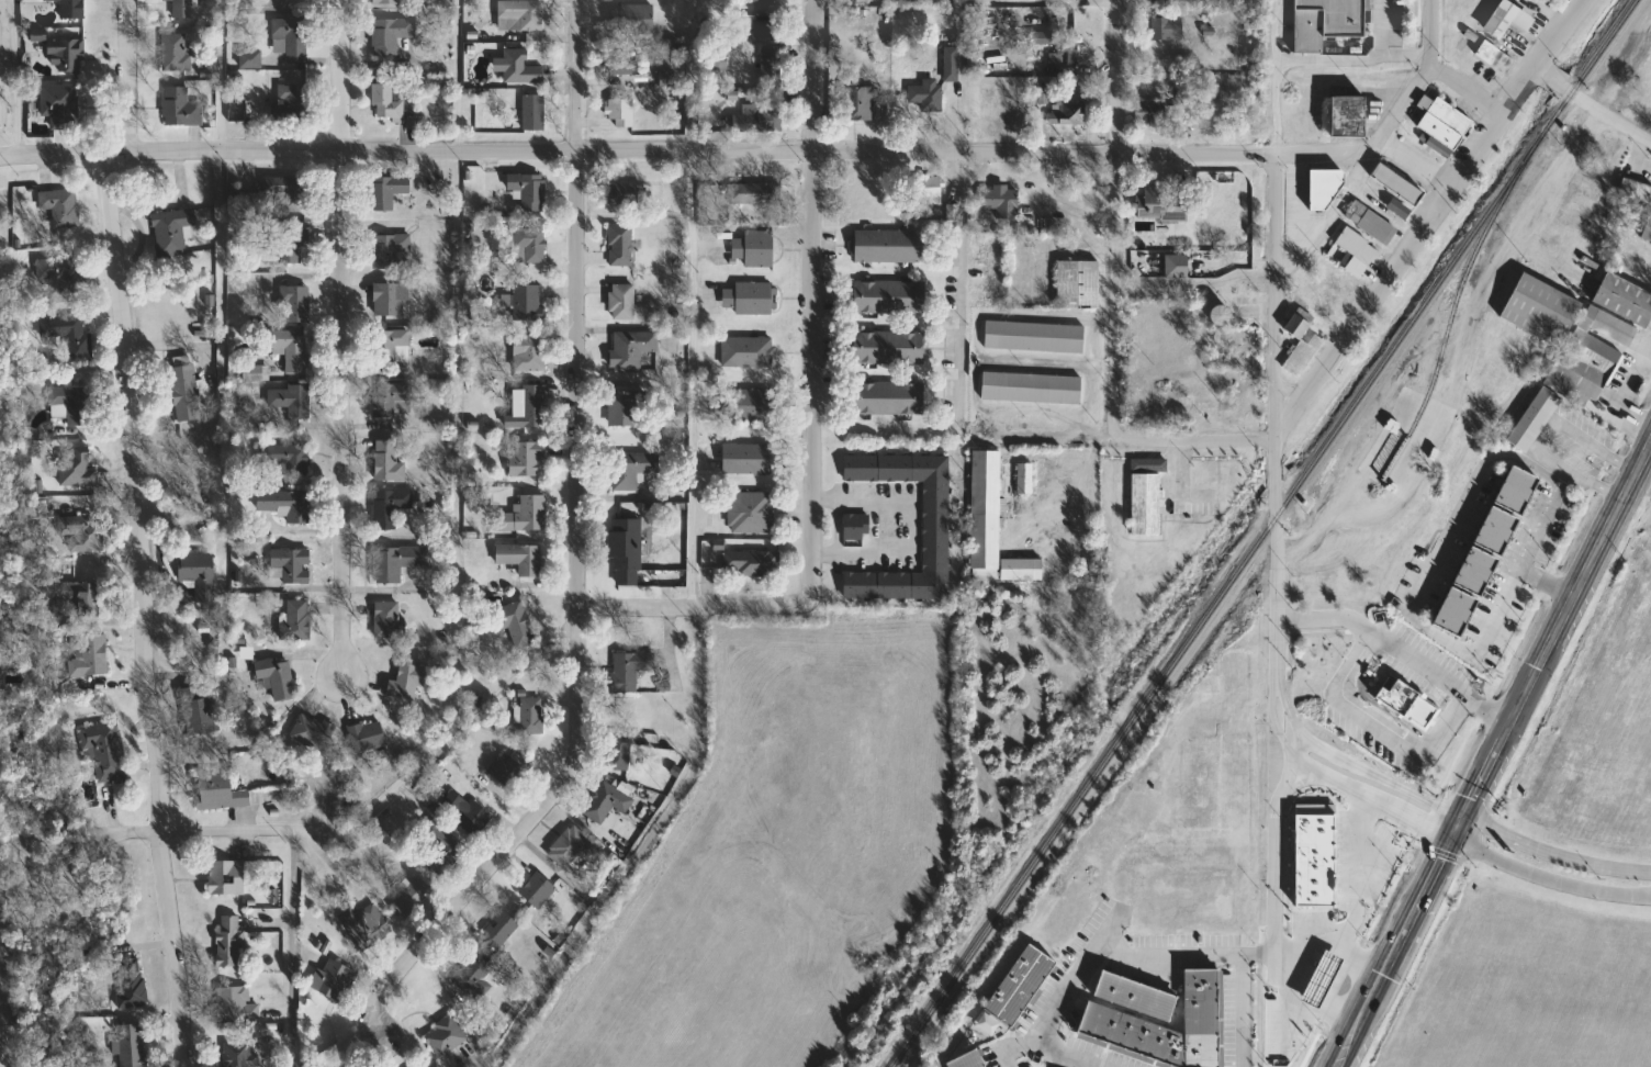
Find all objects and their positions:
building: (1166, 0)
building: (389, 1)
building: (299, 2)
building: (72, 9)
building: (183, 9)
building: (521, 14)
building: (633, 19)
building: (1508, 19)
building: (768, 21)
building: (1326, 22)
building: (1168, 27)
road: (1381, 29)
building: (391, 34)
building: (291, 36)
building: (1042, 37)
building: (175, 53)
building: (66, 54)
building: (1066, 56)
building: (1495, 57)
building: (251, 59)
road: (1349, 60)
building: (719, 61)
building: (621, 64)
building: (771, 64)
building: (952, 65)
building: (521, 68)
road: (126, 74)
road: (573, 74)
road: (1417, 74)
road: (339, 75)
road: (453, 75)
road: (810, 75)
road: (1114, 75)
road: (13, 76)
road: (1271, 76)
park: (4, 81)
road: (1462, 85)
road: (1510, 91)
building: (928, 94)
building: (295, 100)
building: (389, 100)
building: (858, 103)
road: (1588, 103)
building: (60, 105)
building: (182, 108)
road: (2, 109)
building: (1071, 111)
building: (621, 112)
building: (1149, 112)
building: (535, 115)
building: (1348, 116)
building: (760, 119)
building: (1442, 125)
road: (732, 148)
building: (1397, 183)
building: (1322, 188)
building: (529, 190)
building: (931, 190)
building: (1636, 190)
building: (284, 191)
building: (388, 191)
building: (755, 193)
building: (626, 194)
building: (1003, 201)
building: (244, 202)
building: (1163, 203)
building: (61, 206)
building: (1400, 209)
building: (1372, 222)
building: (172, 231)
building: (530, 245)
building: (621, 245)
building: (292, 246)
building: (888, 246)
building: (755, 248)
building: (390, 249)
building: (1358, 251)
building: (1177, 266)
building: (60, 269)
building: (1080, 284)
road: (1119, 293)
road: (1270, 295)
building: (889, 297)
building: (389, 299)
building: (749, 299)
building: (1625, 299)
building: (622, 302)
road: (689, 302)
building: (295, 304)
building: (528, 304)
building: (1541, 310)
road: (1358, 312)
building: (1221, 315)
building: (1298, 326)
building: (69, 336)
building: (1036, 337)
building: (889, 347)
railway: (1440, 347)
building: (393, 348)
building: (293, 349)
building: (632, 350)
building: (749, 352)
building: (530, 353)
building: (1591, 355)
road: (1048, 361)
road: (976, 366)
building: (254, 373)
road: (809, 378)
road: (958, 378)
building: (1033, 388)
building: (186, 392)
building: (889, 398)
building: (291, 400)
building: (393, 401)
building: (72, 404)
building: (536, 405)
building: (754, 405)
building: (631, 408)
road: (338, 414)
building: (1535, 419)
road: (221, 427)
road: (1195, 438)
building: (289, 458)
building: (528, 459)
building: (749, 459)
building: (389, 462)
building: (77, 468)
building: (632, 469)
building: (1147, 495)
building: (287, 505)
building: (391, 507)
road: (1461, 509)
building: (752, 513)
building: (525, 515)
road: (909, 521)
building: (857, 526)
building: (936, 526)
building: (992, 526)
building: (1495, 530)
building: (80, 532)
road: (457, 532)
railway: (1266, 535)
building: (627, 552)
building: (520, 558)
road: (1278, 558)
building: (397, 562)
building: (753, 563)
building: (293, 564)
building: (199, 573)
building: (85, 598)
road: (693, 605)
road: (137, 606)
building: (1453, 610)
building: (389, 619)
road: (574, 619)
building: (296, 620)
building: (517, 622)
road: (1401, 651)
building: (88, 655)
building: (629, 670)
building: (278, 676)
building: (407, 682)
railway: (1446, 692)
building: (1409, 703)
building: (199, 709)
building: (534, 716)
road: (1380, 726)
building: (312, 733)
building: (367, 737)
road: (1300, 746)
building: (105, 750)
building: (620, 752)
road: (1496, 755)
building: (513, 770)
road: (1382, 776)
building: (1324, 778)
road: (1301, 780)
road: (1285, 783)
building: (218, 793)
road: (1364, 796)
building: (607, 802)
building: (465, 813)
traffic signals: (1468, 816)
road: (237, 833)
traffic signals: (1456, 840)
building: (441, 846)
building: (569, 846)
road: (642, 849)
road: (81, 852)
road: (1555, 854)
building: (1312, 861)
road: (1274, 867)
building: (226, 878)
road: (1550, 878)
building: (538, 890)
building: (414, 894)
road: (1357, 897)
building: (364, 925)
building: (499, 931)
building: (231, 942)
road: (1312, 944)
road: (1093, 946)
road: (297, 948)
road: (1339, 977)
building: (474, 979)
building: (1322, 979)
building: (333, 980)
gas station: (1321, 981)
building: (131, 984)
building: (1020, 986)
road: (1316, 991)
building: (1135, 997)
building: (236, 1006)
road: (1245, 1009)
building: (1105, 1014)
building: (988, 1024)
building: (447, 1036)
building: (131, 1046)
building: (236, 1054)
building: (968, 1060)

